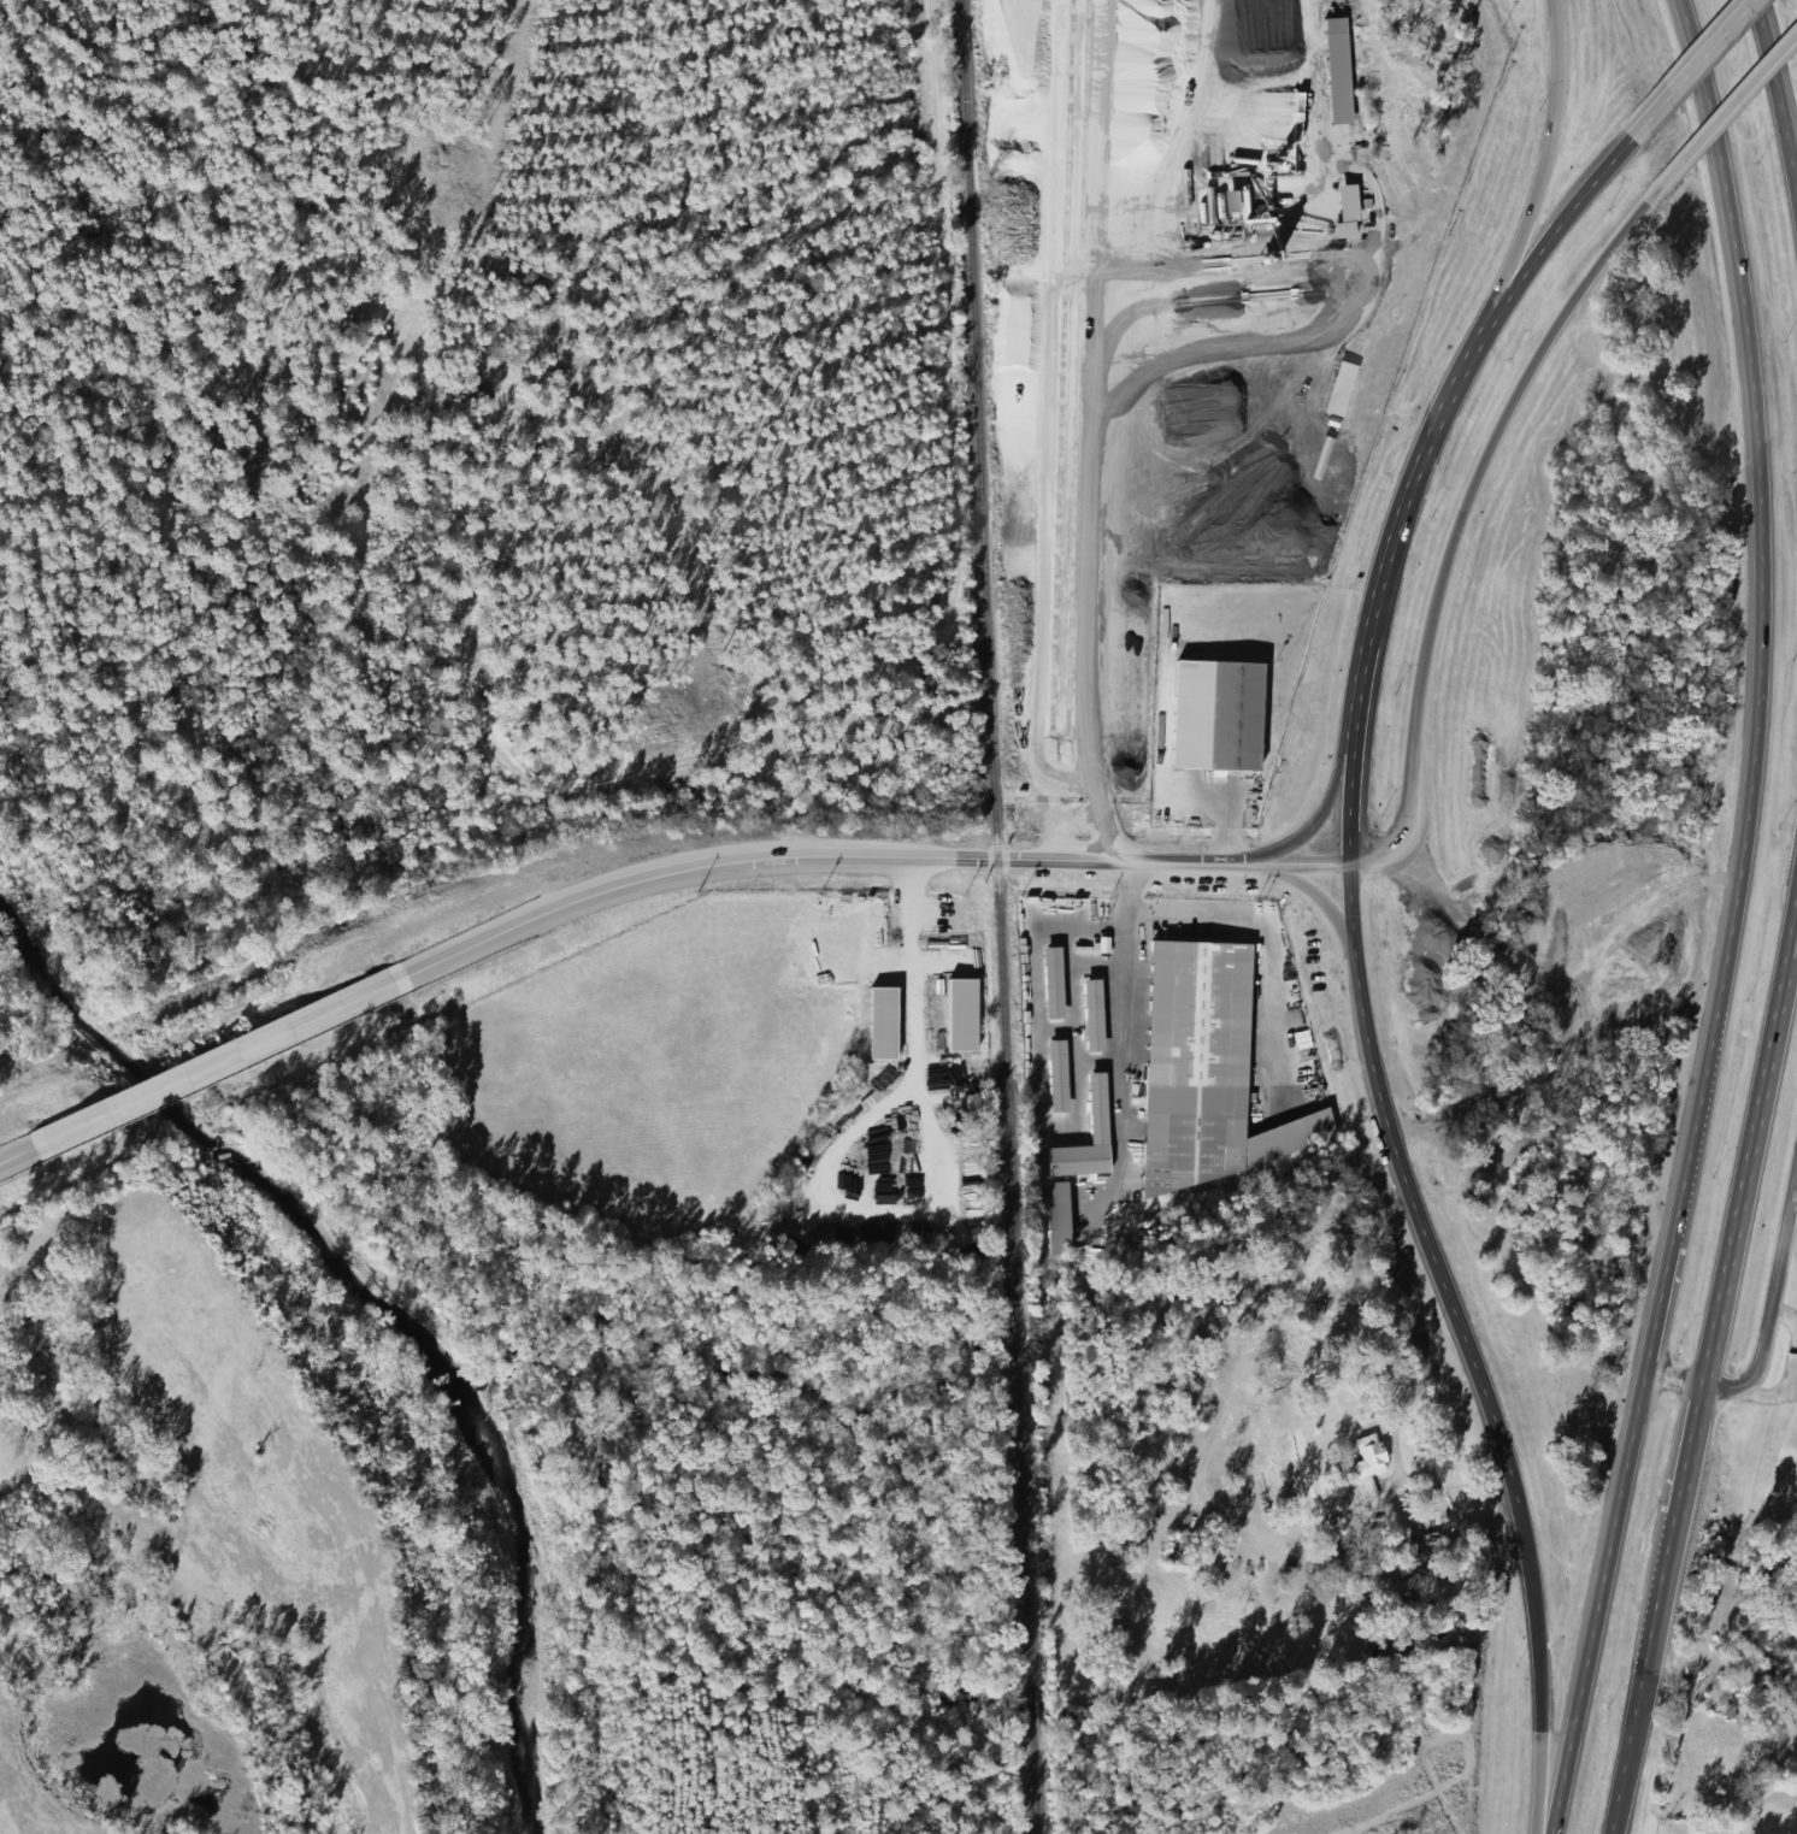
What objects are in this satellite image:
road: (1691, 65)
building: (1332, 78)
road: (1739, 93)
road: (1775, 106)
road: (1536, 182)
railway: (1059, 372)
road: (1418, 470)
road: (1756, 482)
road: (1463, 499)
building: (1225, 717)
road: (1325, 797)
road: (803, 854)
road: (1237, 861)
road: (1300, 862)
road: (1318, 901)
railway: (997, 916)
road: (1786, 920)
road: (1787, 955)
building: (1047, 983)
building: (1086, 1015)
road: (226, 1055)
building: (1188, 1063)
building: (1050, 1077)
building: (1091, 1110)
road: (22, 1149)
road: (1681, 1169)
road: (1407, 1196)
building: (1050, 1219)
road: (1767, 1326)
road: (1697, 1404)
building: (1362, 1467)
building: (1171, 1551)
road: (1597, 1602)
road: (1537, 1675)
building: (1762, 1676)
building: (1783, 1712)

